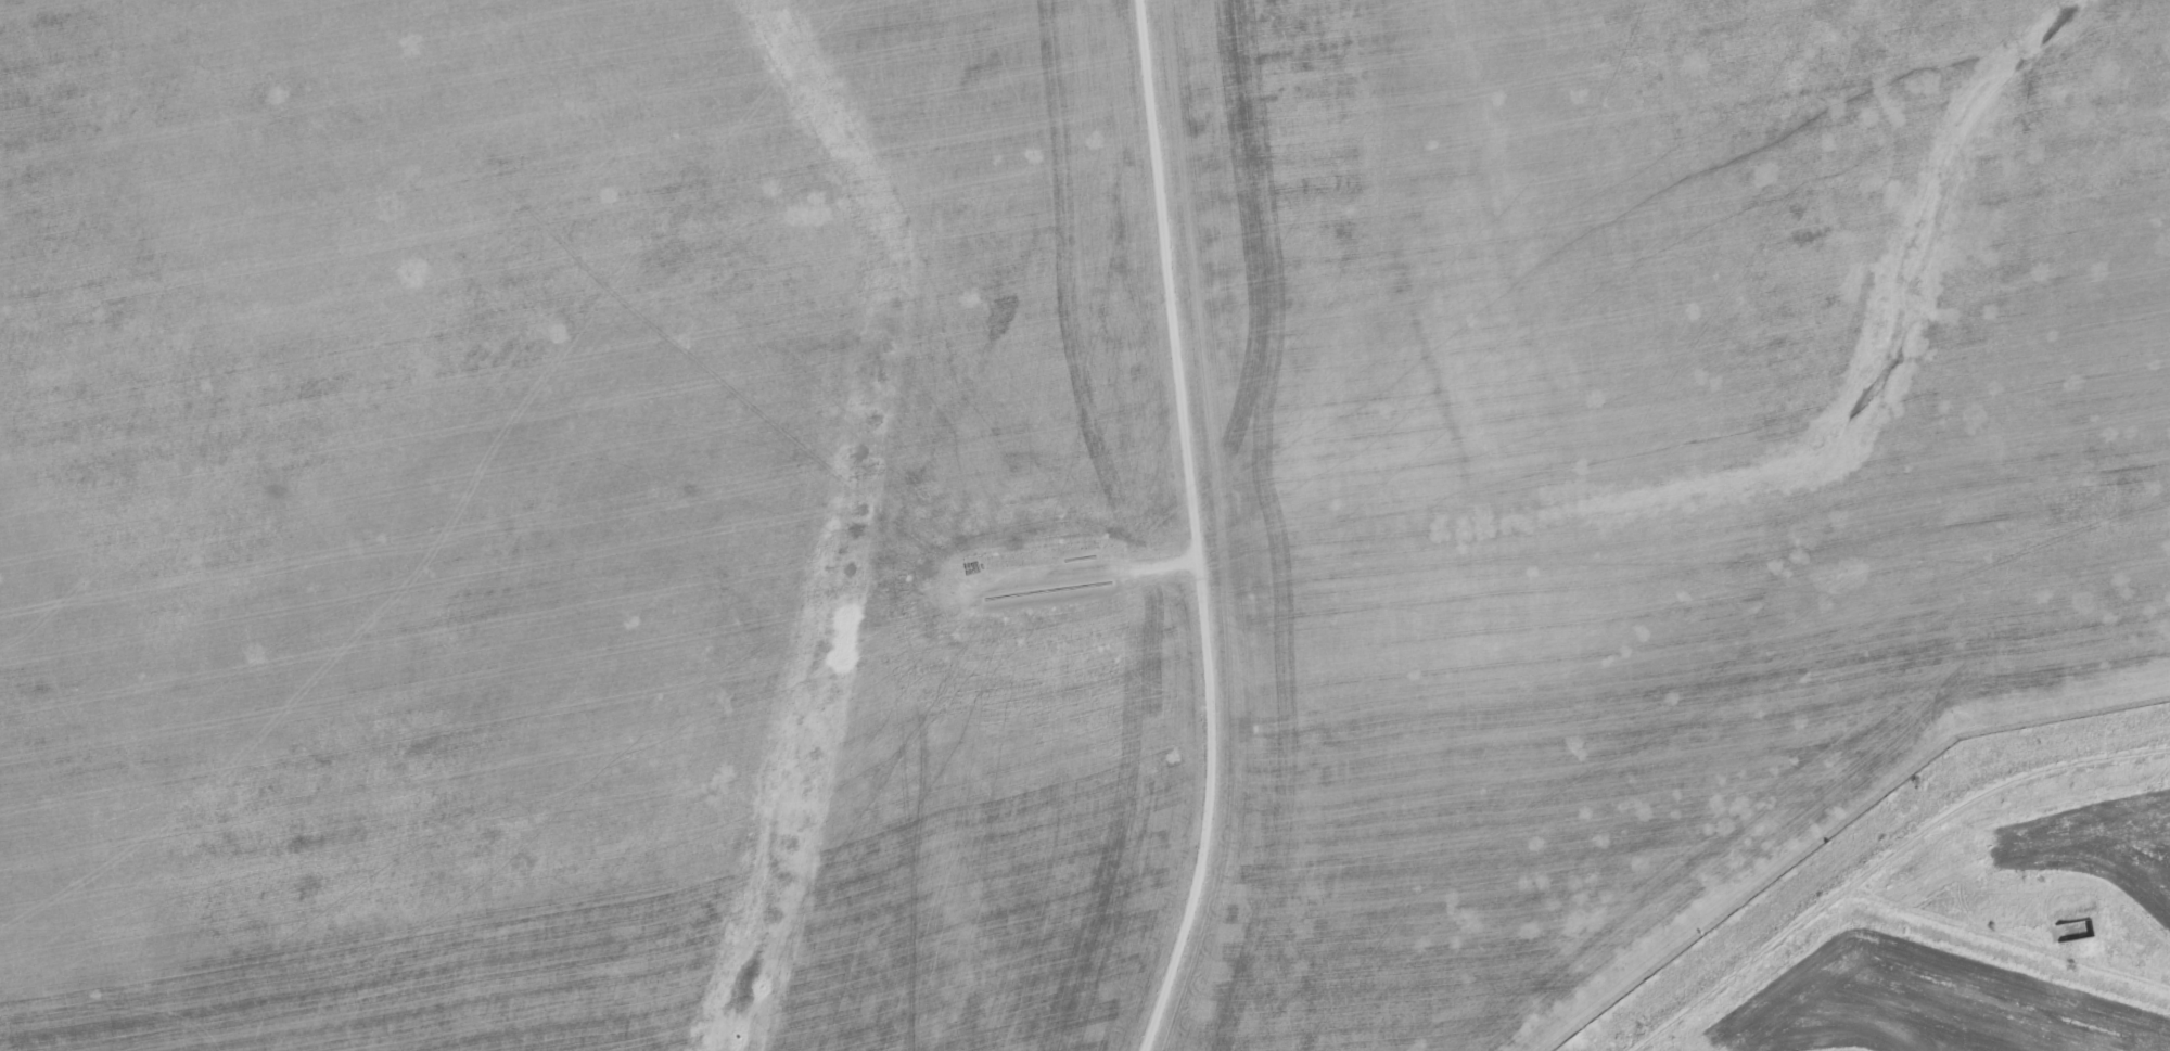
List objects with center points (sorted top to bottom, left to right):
road: (1210, 529)
road: (1886, 859)
building: (2072, 930)
road: (2009, 939)

